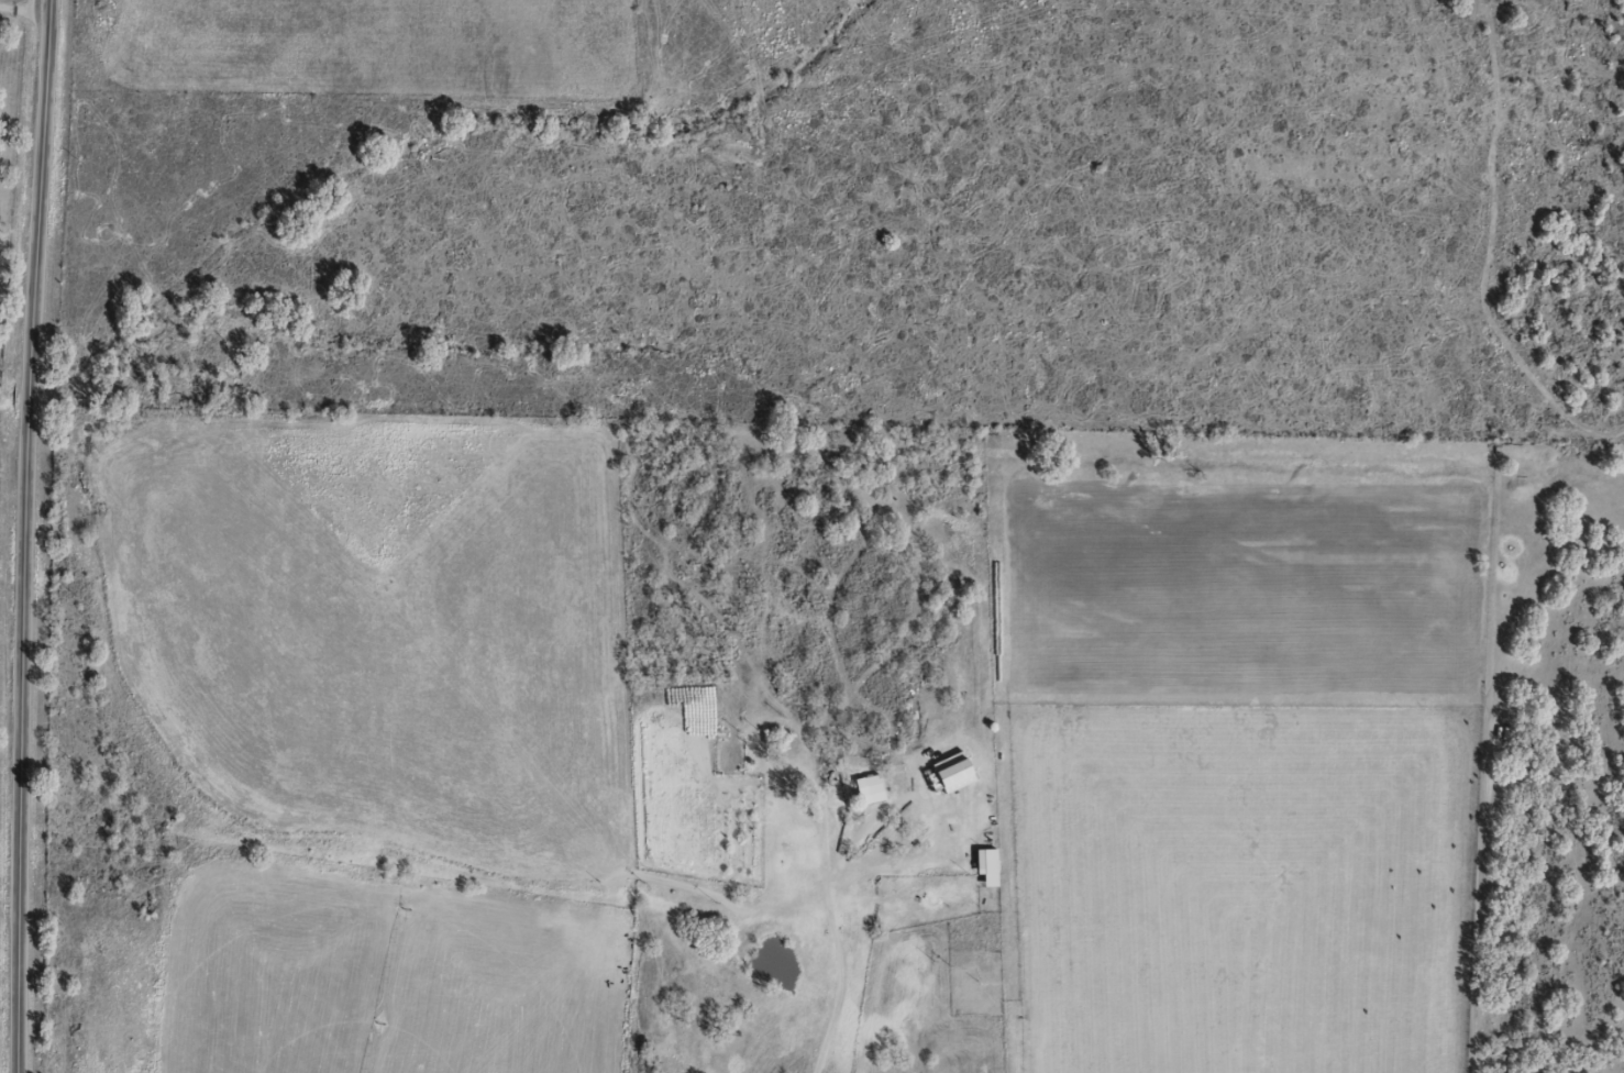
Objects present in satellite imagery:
road: (25, 84)
road: (24, 535)
building: (953, 772)
building: (869, 785)
building: (992, 856)
road: (847, 991)

